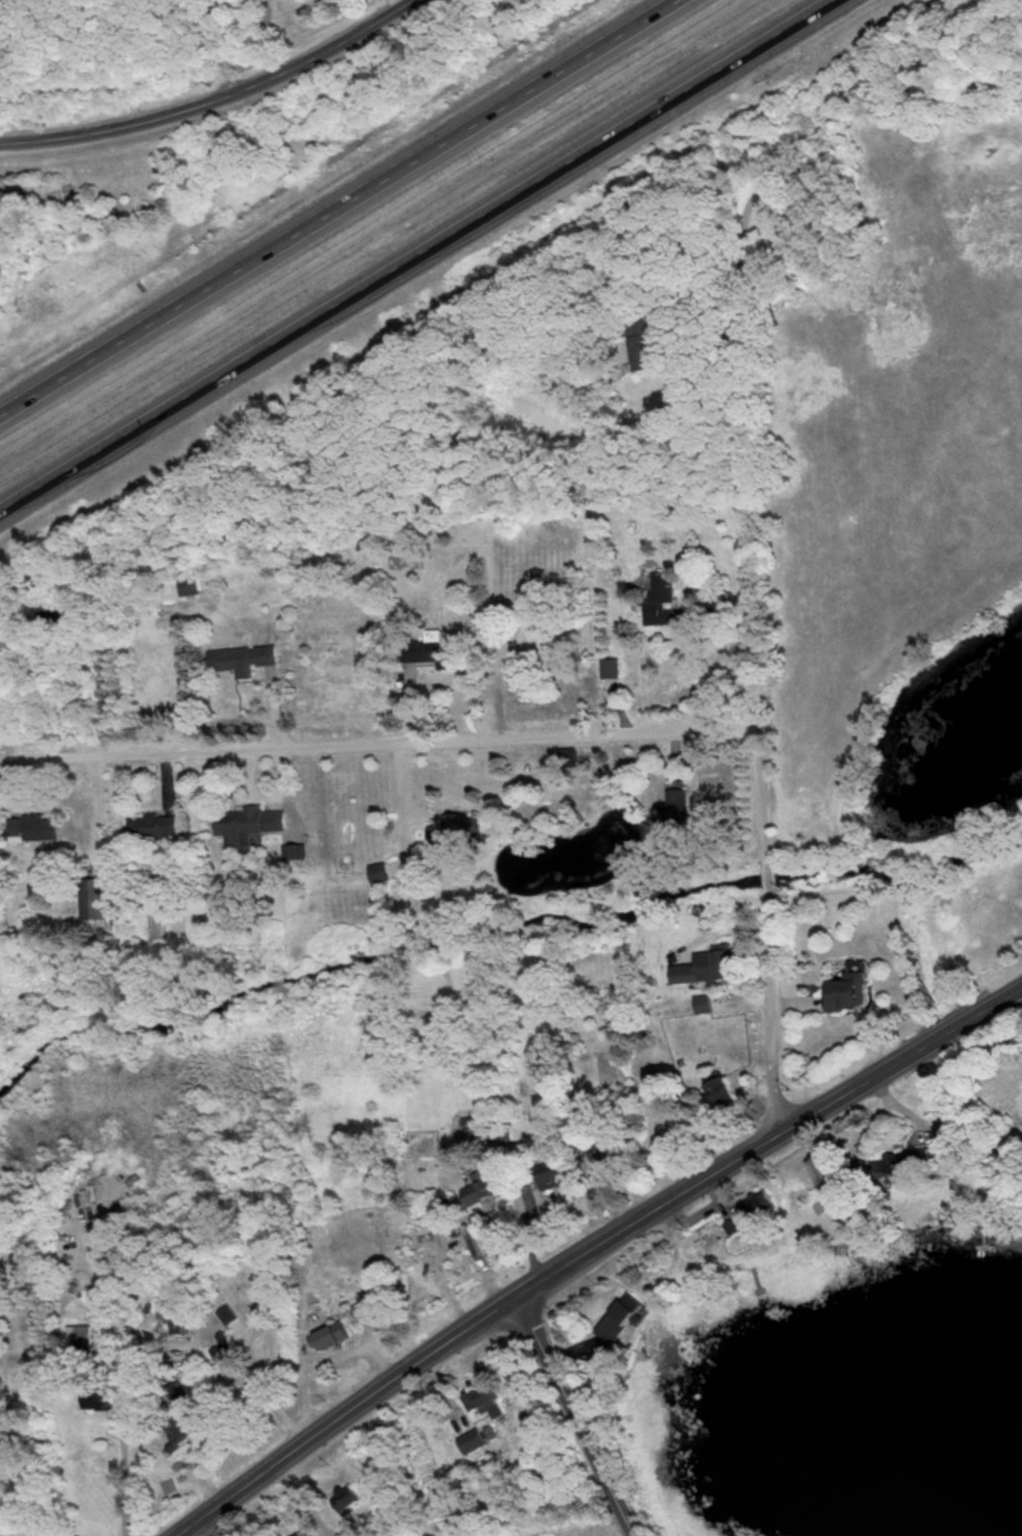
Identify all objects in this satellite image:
road: (413, 3)
road: (221, 48)
road: (213, 104)
road: (758, 190)
road: (342, 209)
building: (420, 256)
road: (421, 257)
road: (699, 288)
building: (638, 341)
building: (43, 488)
park: (907, 519)
building: (362, 541)
road: (752, 569)
building: (188, 585)
building: (659, 598)
building: (428, 650)
building: (241, 659)
building: (610, 672)
road: (381, 743)
road: (3, 760)
road: (395, 804)
building: (675, 804)
building: (245, 824)
building: (151, 826)
building: (453, 828)
building: (31, 829)
building: (294, 852)
building: (376, 872)
road: (770, 879)
building: (90, 899)
building: (703, 967)
building: (844, 991)
building: (700, 1004)
road: (776, 1016)
road: (901, 1061)
building: (716, 1093)
building: (467, 1125)
building: (547, 1176)
building: (476, 1191)
road: (650, 1215)
building: (366, 1307)
building: (226, 1315)
building: (617, 1317)
building: (326, 1336)
building: (77, 1341)
building: (484, 1402)
road: (124, 1405)
road: (349, 1414)
road: (578, 1416)
building: (173, 1432)
building: (490, 1433)
building: (470, 1442)
building: (347, 1503)
building: (304, 1532)
building: (545, 1534)

